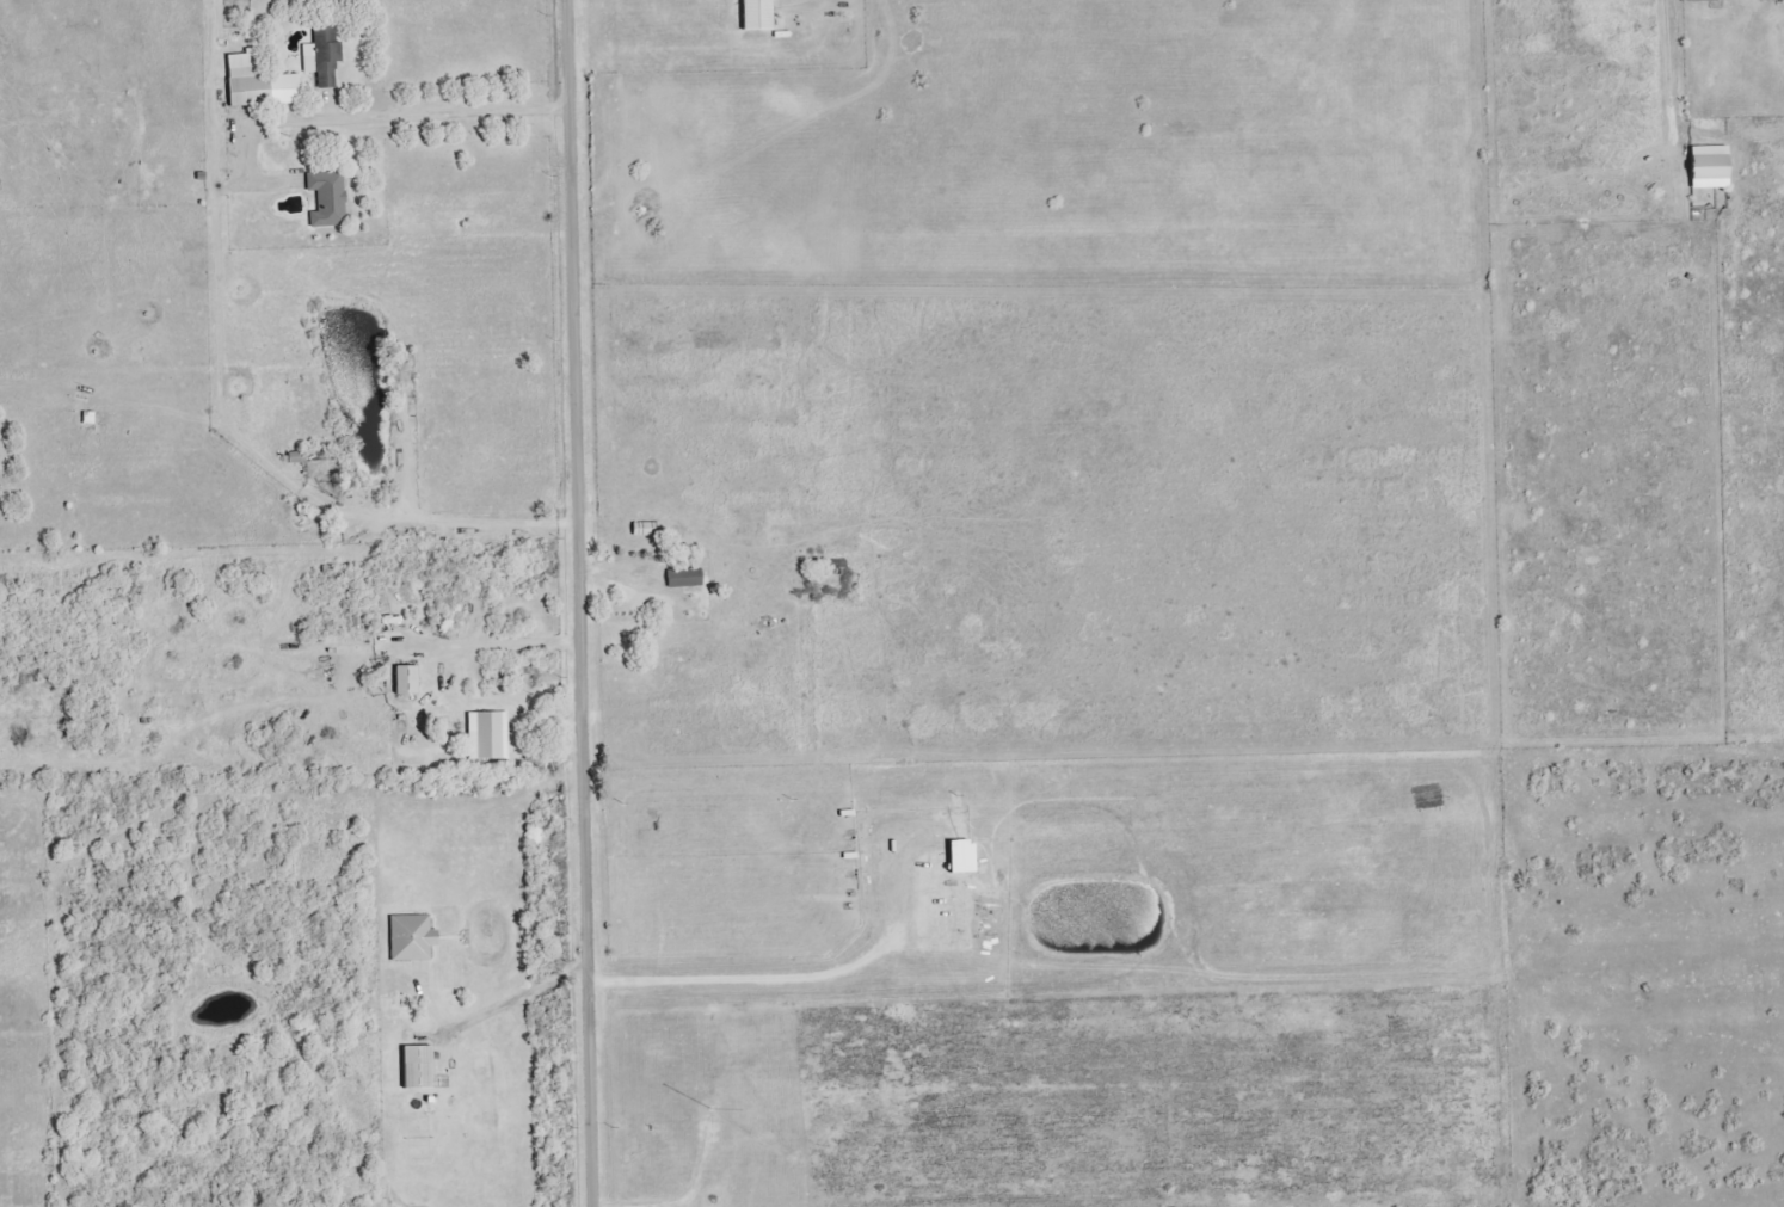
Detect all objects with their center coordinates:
building: (1700, 1)
building: (755, 16)
building: (321, 55)
building: (257, 84)
road: (405, 113)
building: (1708, 166)
building: (326, 198)
road: (425, 528)
building: (683, 577)
road: (582, 603)
building: (404, 678)
building: (486, 734)
building: (960, 856)
building: (410, 937)
building: (416, 1067)

